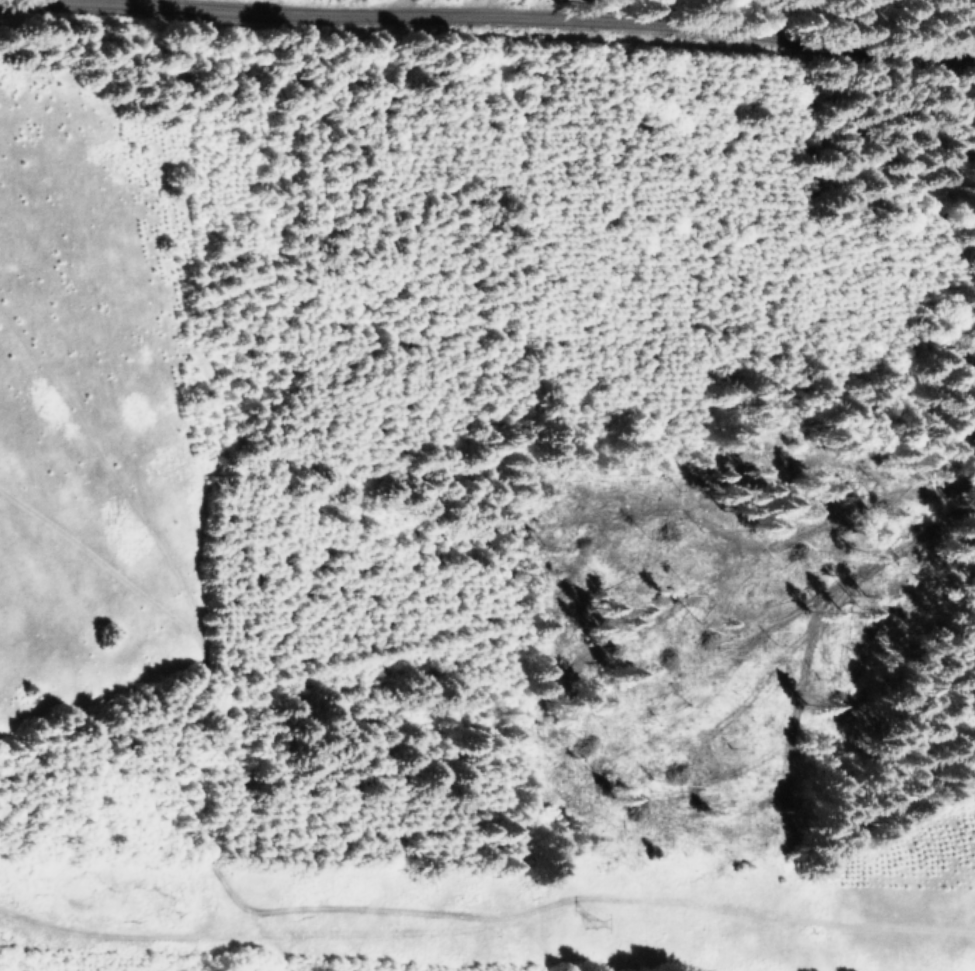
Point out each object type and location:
road: (488, 13)
road: (800, 439)
road: (807, 705)
power tower: (582, 910)
road: (698, 954)

